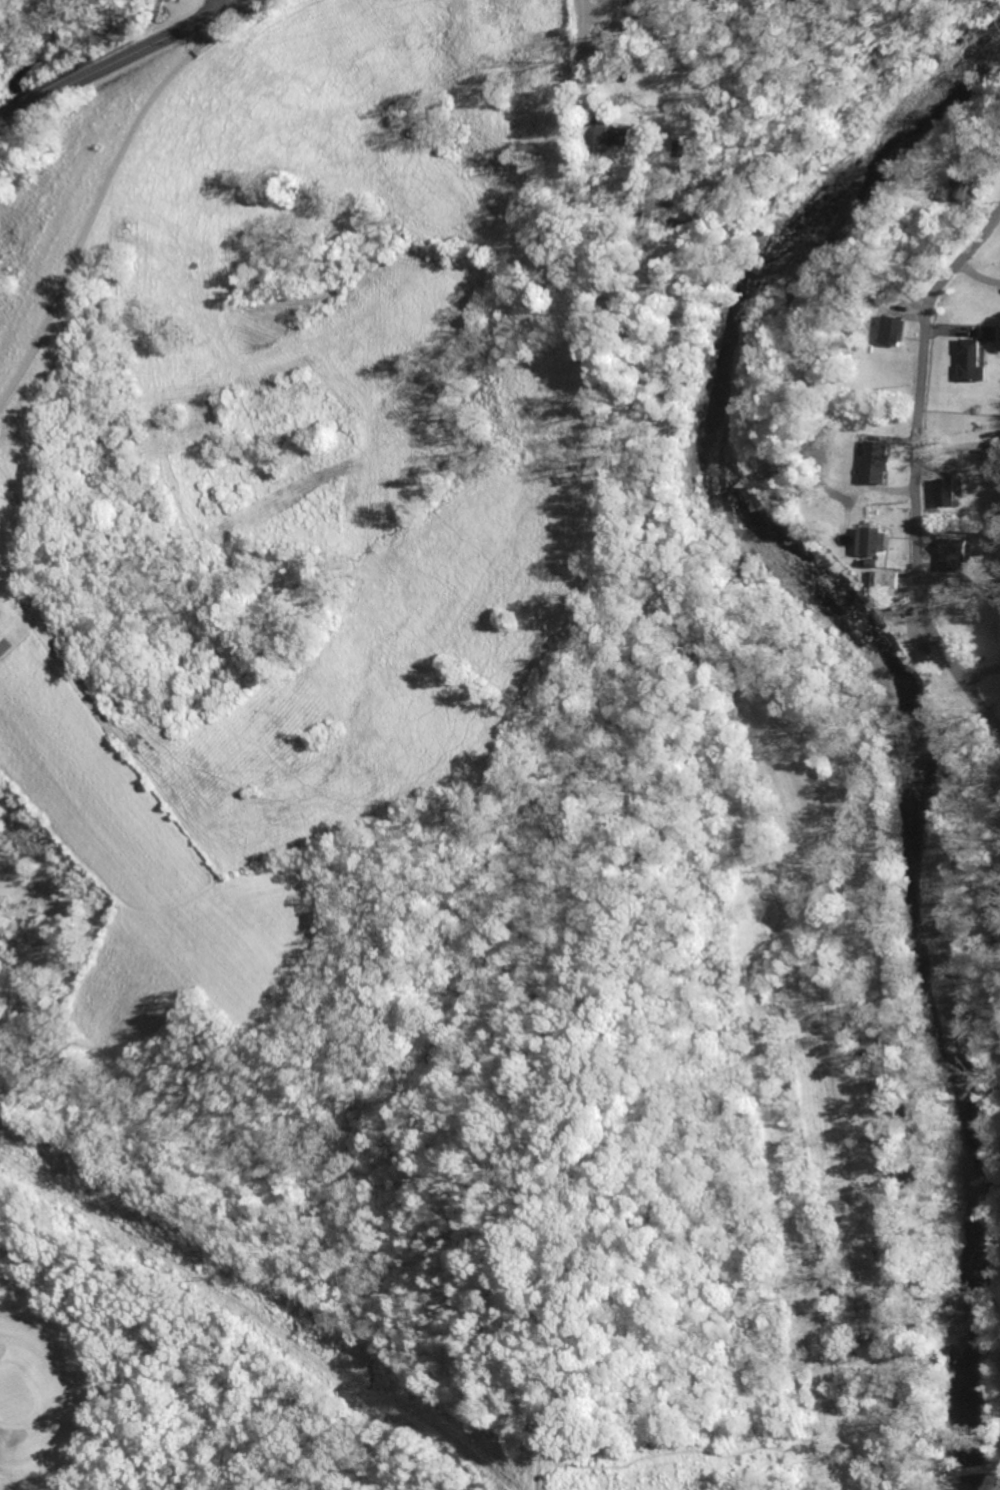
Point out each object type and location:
road: (228, 4)
road: (575, 16)
road: (124, 61)
building: (611, 134)
building: (681, 148)
building: (968, 189)
road: (96, 209)
building: (988, 332)
building: (890, 333)
building: (968, 362)
building: (998, 447)
building: (874, 461)
road: (915, 472)
crop: (273, 482)
building: (942, 493)
building: (870, 542)
building: (944, 555)
building: (882, 579)
building: (978, 580)
road: (892, 1304)
road: (999, 1362)
park: (176, 1373)
park: (16, 1393)
road: (992, 1464)
road: (969, 1470)
road: (890, 1478)

